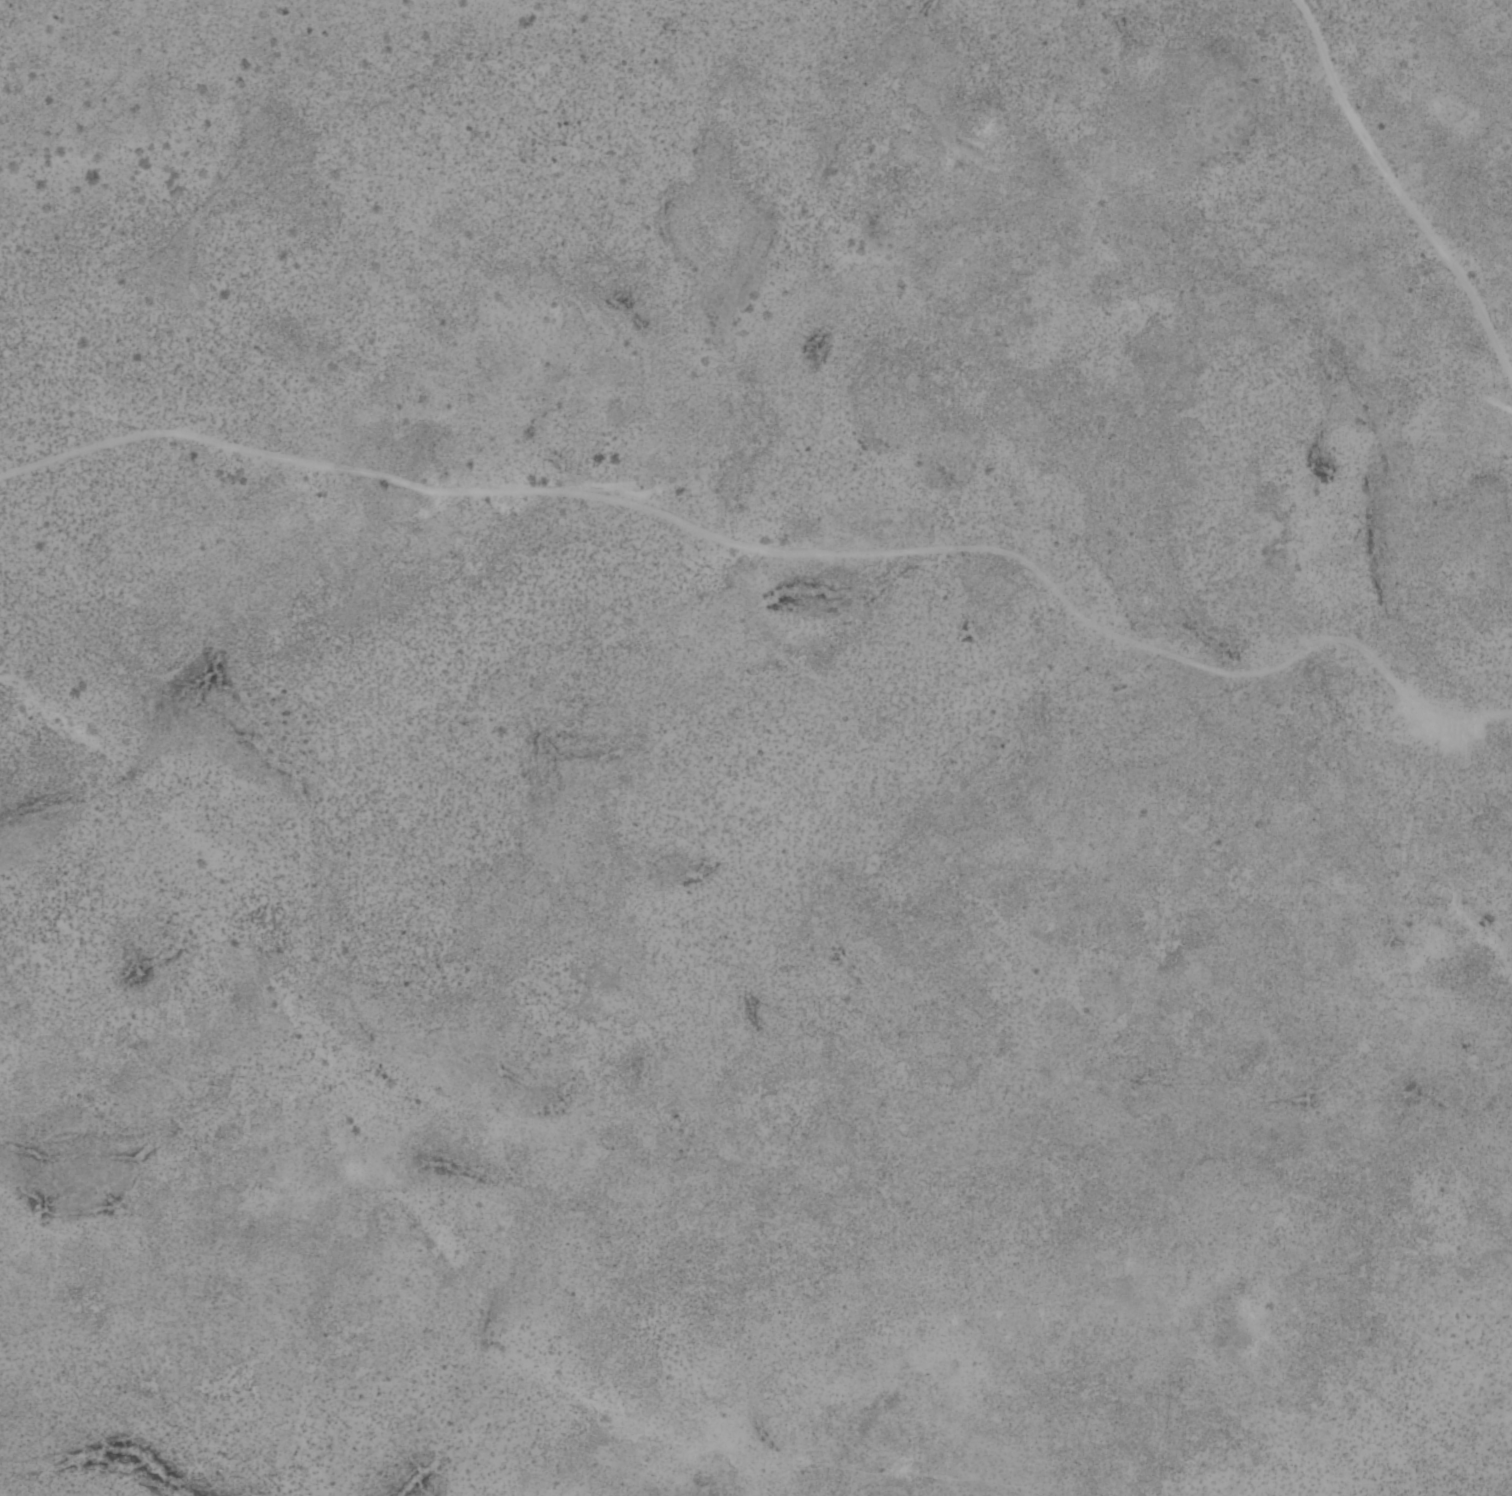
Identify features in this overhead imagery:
road: (1381, 216)

